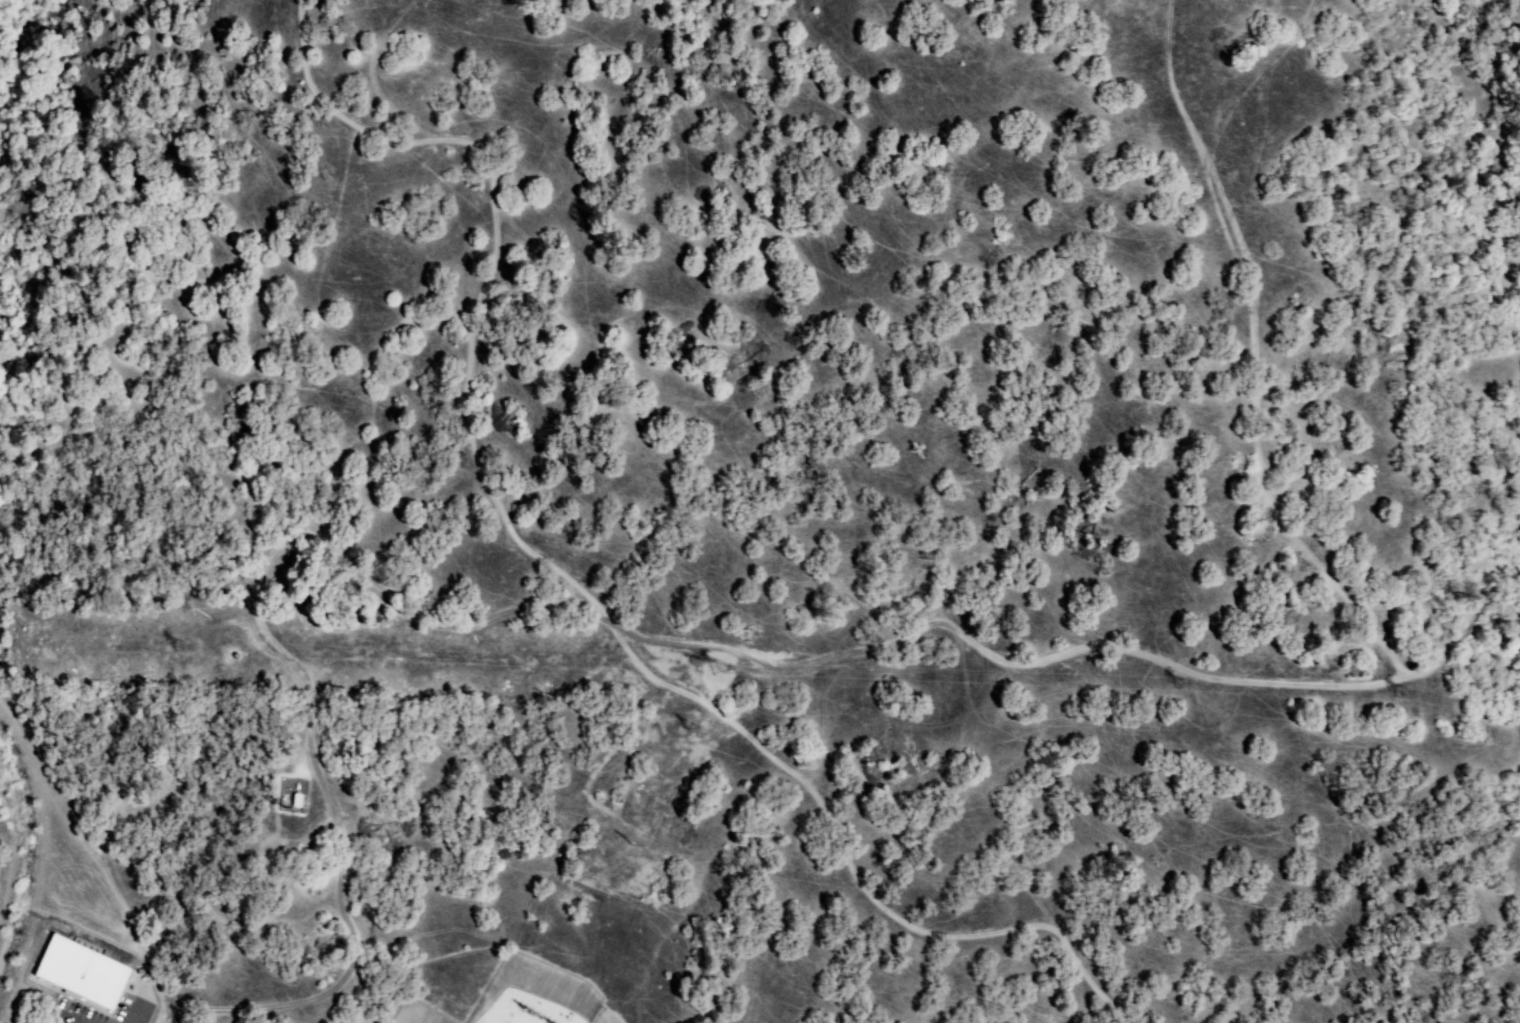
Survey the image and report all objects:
road: (1259, 354)
power tower: (183, 641)
road: (662, 643)
power tower: (719, 672)
power tower: (1188, 695)
power tower: (693, 724)
power tower: (634, 842)
building: (84, 974)
power substation: (536, 996)
power substation: (419, 1011)

